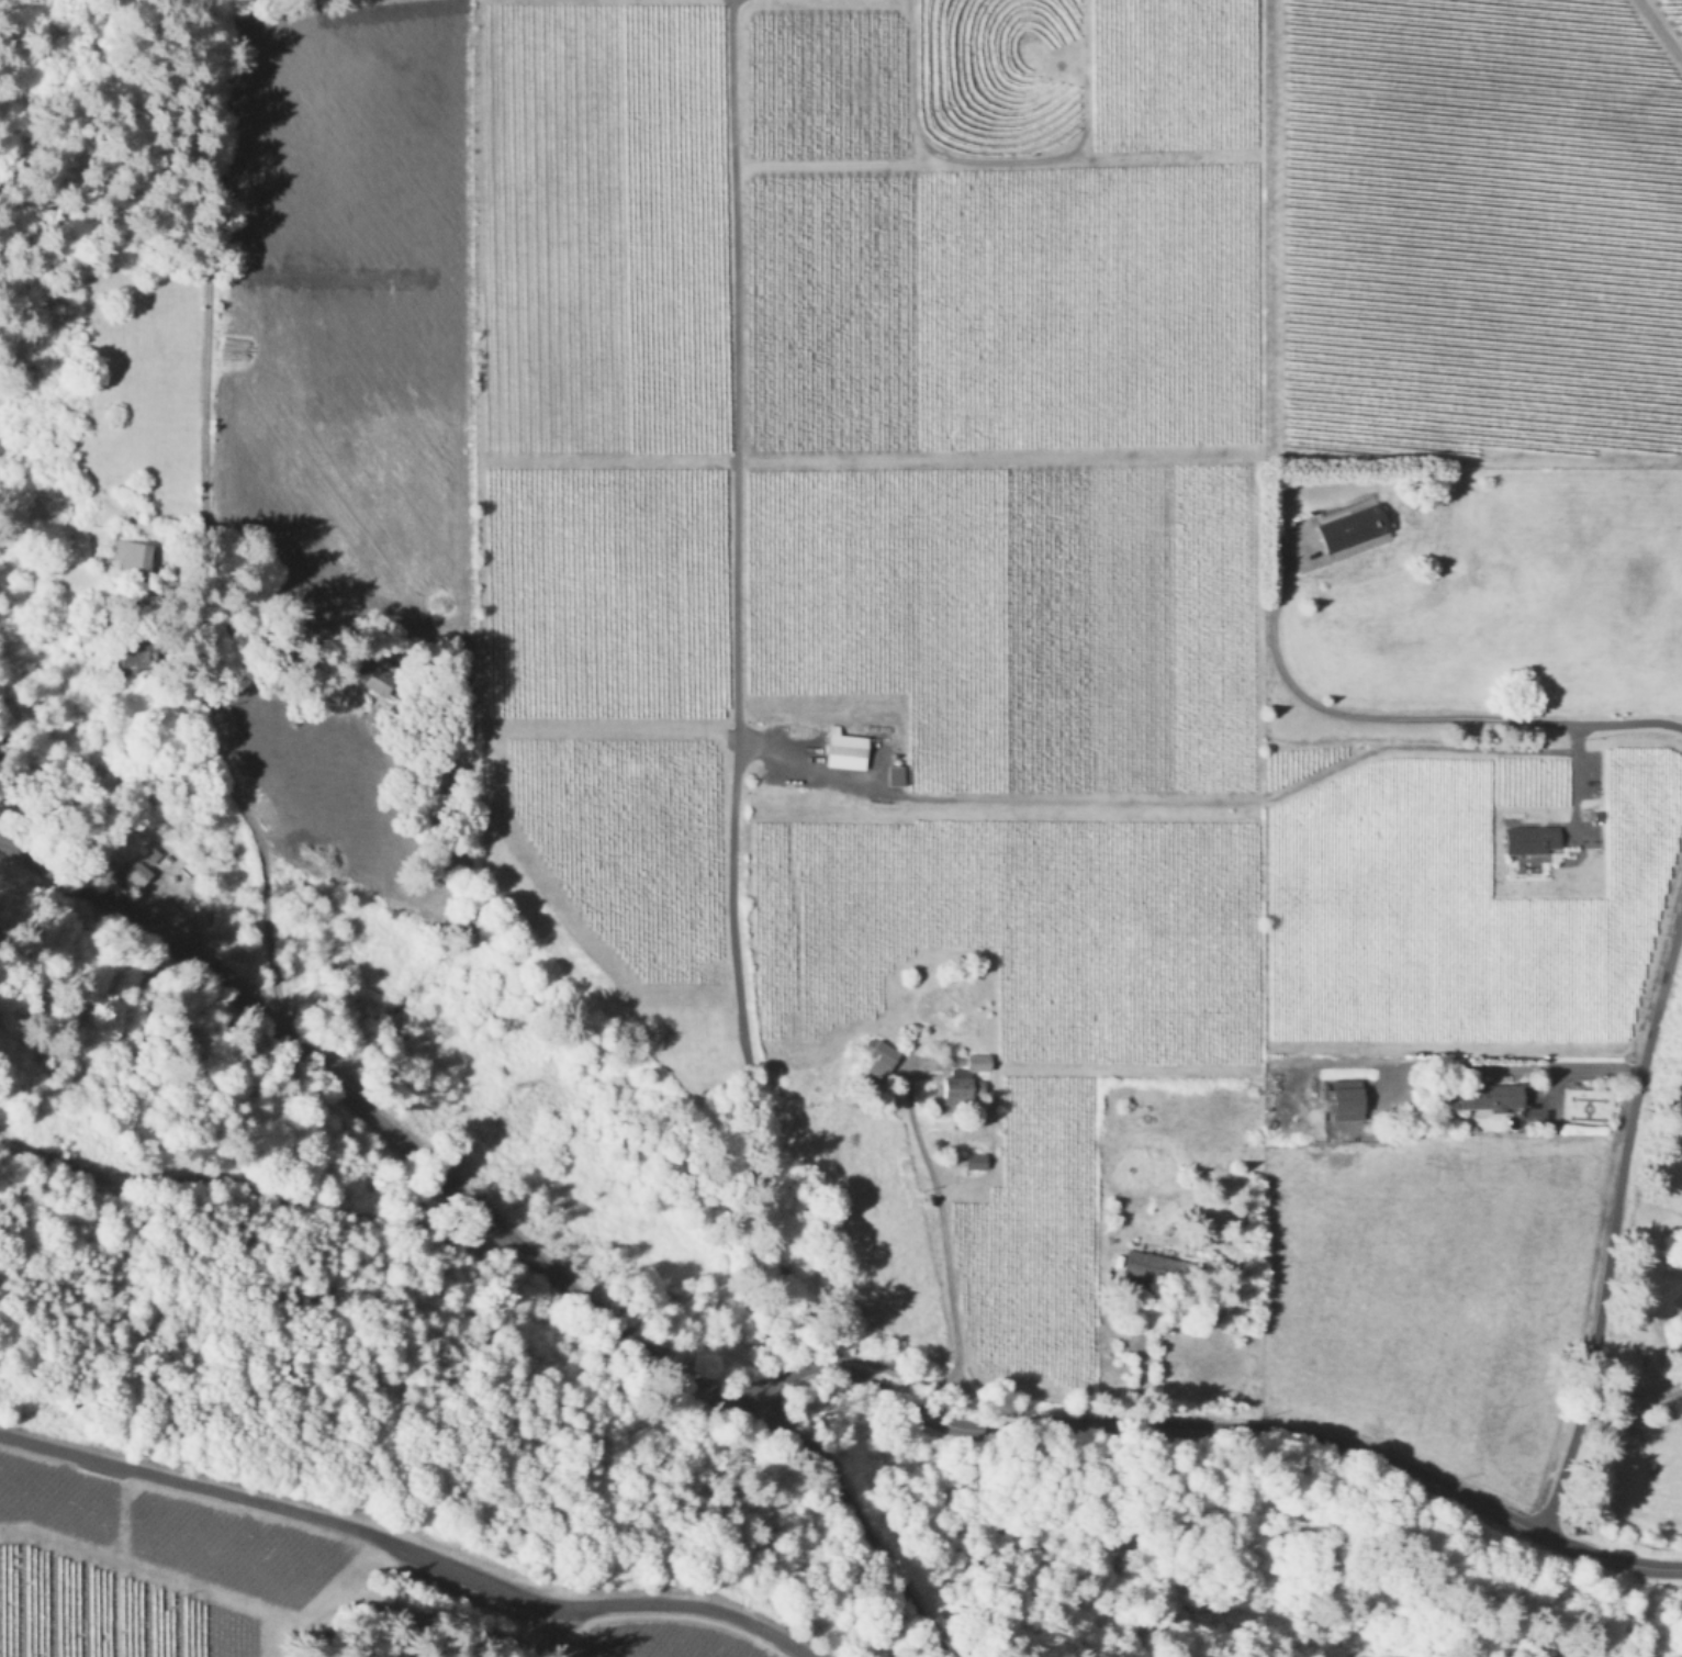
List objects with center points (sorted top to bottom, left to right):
crop: (1662, 16)
road: (204, 506)
building: (1352, 526)
building: (133, 555)
crop: (1471, 601)
building: (132, 654)
building: (374, 680)
road: (735, 690)
road: (1412, 719)
building: (844, 748)
road: (1571, 784)
building: (1530, 838)
building: (153, 853)
building: (138, 872)
building: (879, 1056)
road: (1555, 1066)
building: (965, 1079)
building: (1489, 1096)
building: (1347, 1098)
building: (975, 1158)
road: (1610, 1216)
road: (498, 1231)
crop: (1270, 1255)
building: (1158, 1265)
road: (943, 1276)
road: (1135, 1363)
road: (902, 1378)
road: (1211, 1428)
road: (413, 1547)

